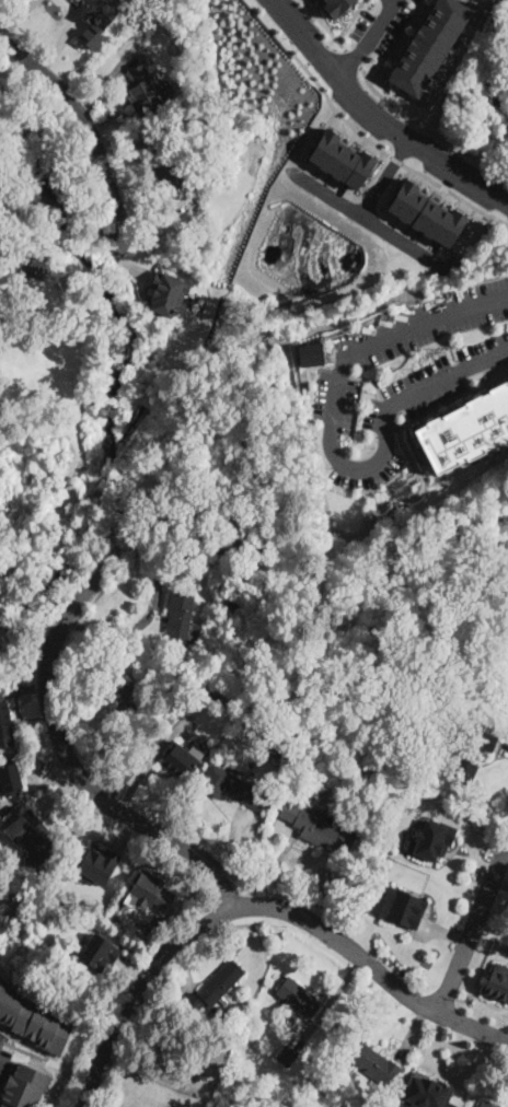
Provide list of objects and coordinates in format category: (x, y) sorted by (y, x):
parking lot: (417, 0)
building: (335, 7)
parking lot: (504, 9)
road: (15, 15)
building: (99, 19)
road: (323, 24)
road: (346, 24)
parking lot: (381, 25)
road: (368, 42)
road: (395, 42)
building: (428, 45)
road: (57, 46)
road: (316, 53)
road: (351, 57)
road: (305, 63)
road: (109, 79)
building: (148, 92)
road: (374, 117)
road: (85, 126)
road: (427, 127)
road: (359, 131)
building: (340, 159)
building: (168, 166)
road: (384, 177)
building: (426, 212)
road: (161, 214)
road: (363, 215)
road: (18, 270)
road: (132, 270)
building: (168, 293)
building: (308, 353)
parking lot: (428, 383)
building: (464, 428)
road: (332, 436)
building: (223, 494)
road: (178, 521)
building: (232, 610)
building: (178, 616)
road: (141, 618)
building: (460, 668)
building: (477, 686)
road: (23, 687)
road: (88, 689)
building: (131, 697)
building: (5, 726)
building: (276, 747)
road: (504, 747)
road: (63, 748)
building: (473, 750)
building: (182, 759)
road: (149, 766)
building: (10, 780)
road: (35, 786)
building: (232, 788)
road: (77, 825)
road: (125, 830)
building: (31, 832)
building: (322, 832)
road: (231, 839)
building: (430, 839)
road: (469, 839)
road: (505, 858)
building: (99, 863)
road: (177, 865)
road: (267, 869)
road: (499, 883)
building: (150, 889)
road: (259, 904)
building: (402, 907)
road: (474, 925)
road: (444, 932)
building: (99, 949)
road: (132, 968)
building: (0, 979)
building: (497, 981)
building: (220, 982)
road: (182, 988)
building: (299, 997)
building: (190, 1003)
road: (328, 1003)
building: (33, 1021)
road: (412, 1030)
road: (23, 1039)
road: (23, 1041)
road: (27, 1051)
building: (287, 1054)
parking lot: (4, 1059)
building: (373, 1063)
road: (10, 1069)
road: (443, 1071)
building: (198, 1084)
building: (24, 1087)
building: (426, 1092)
building: (487, 1104)

